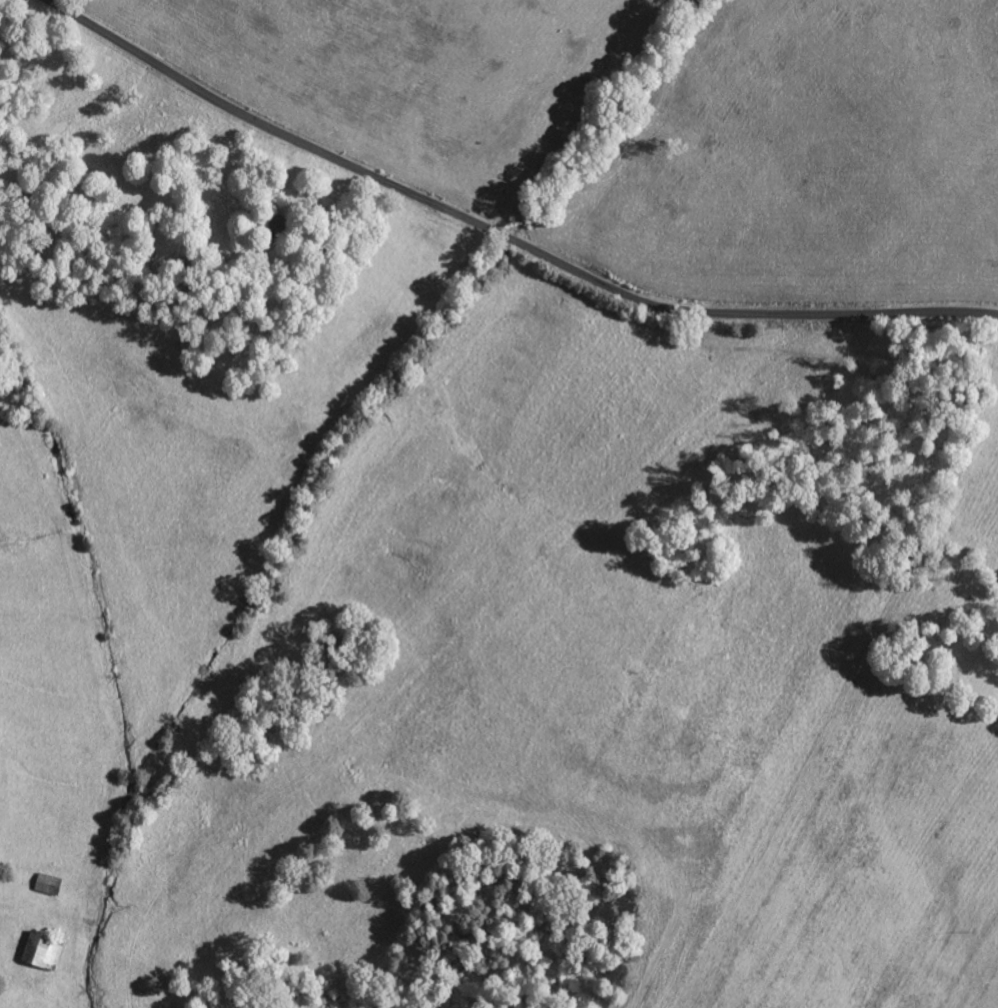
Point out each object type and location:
road: (501, 233)
building: (43, 886)
building: (37, 953)

